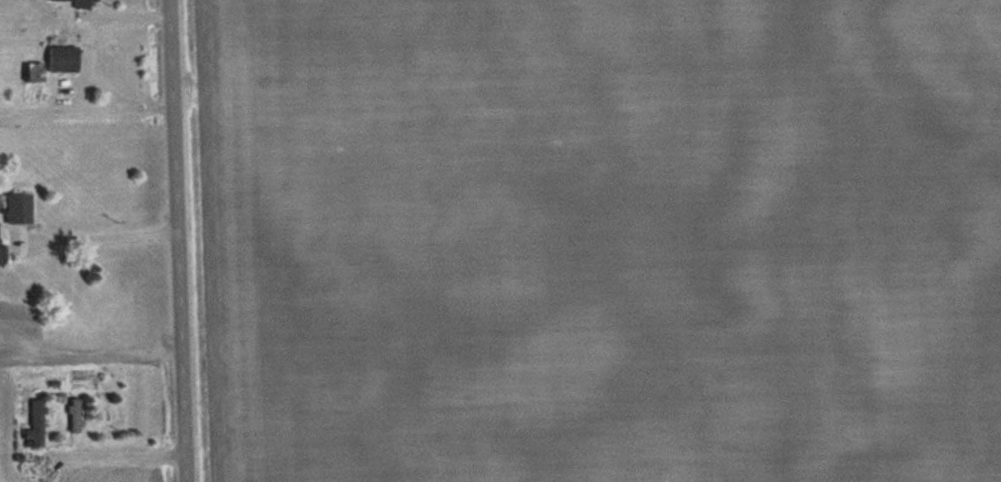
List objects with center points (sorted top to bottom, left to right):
building: (86, 2)
building: (64, 58)
building: (35, 80)
building: (19, 208)
road: (176, 241)
building: (77, 414)
building: (37, 422)

